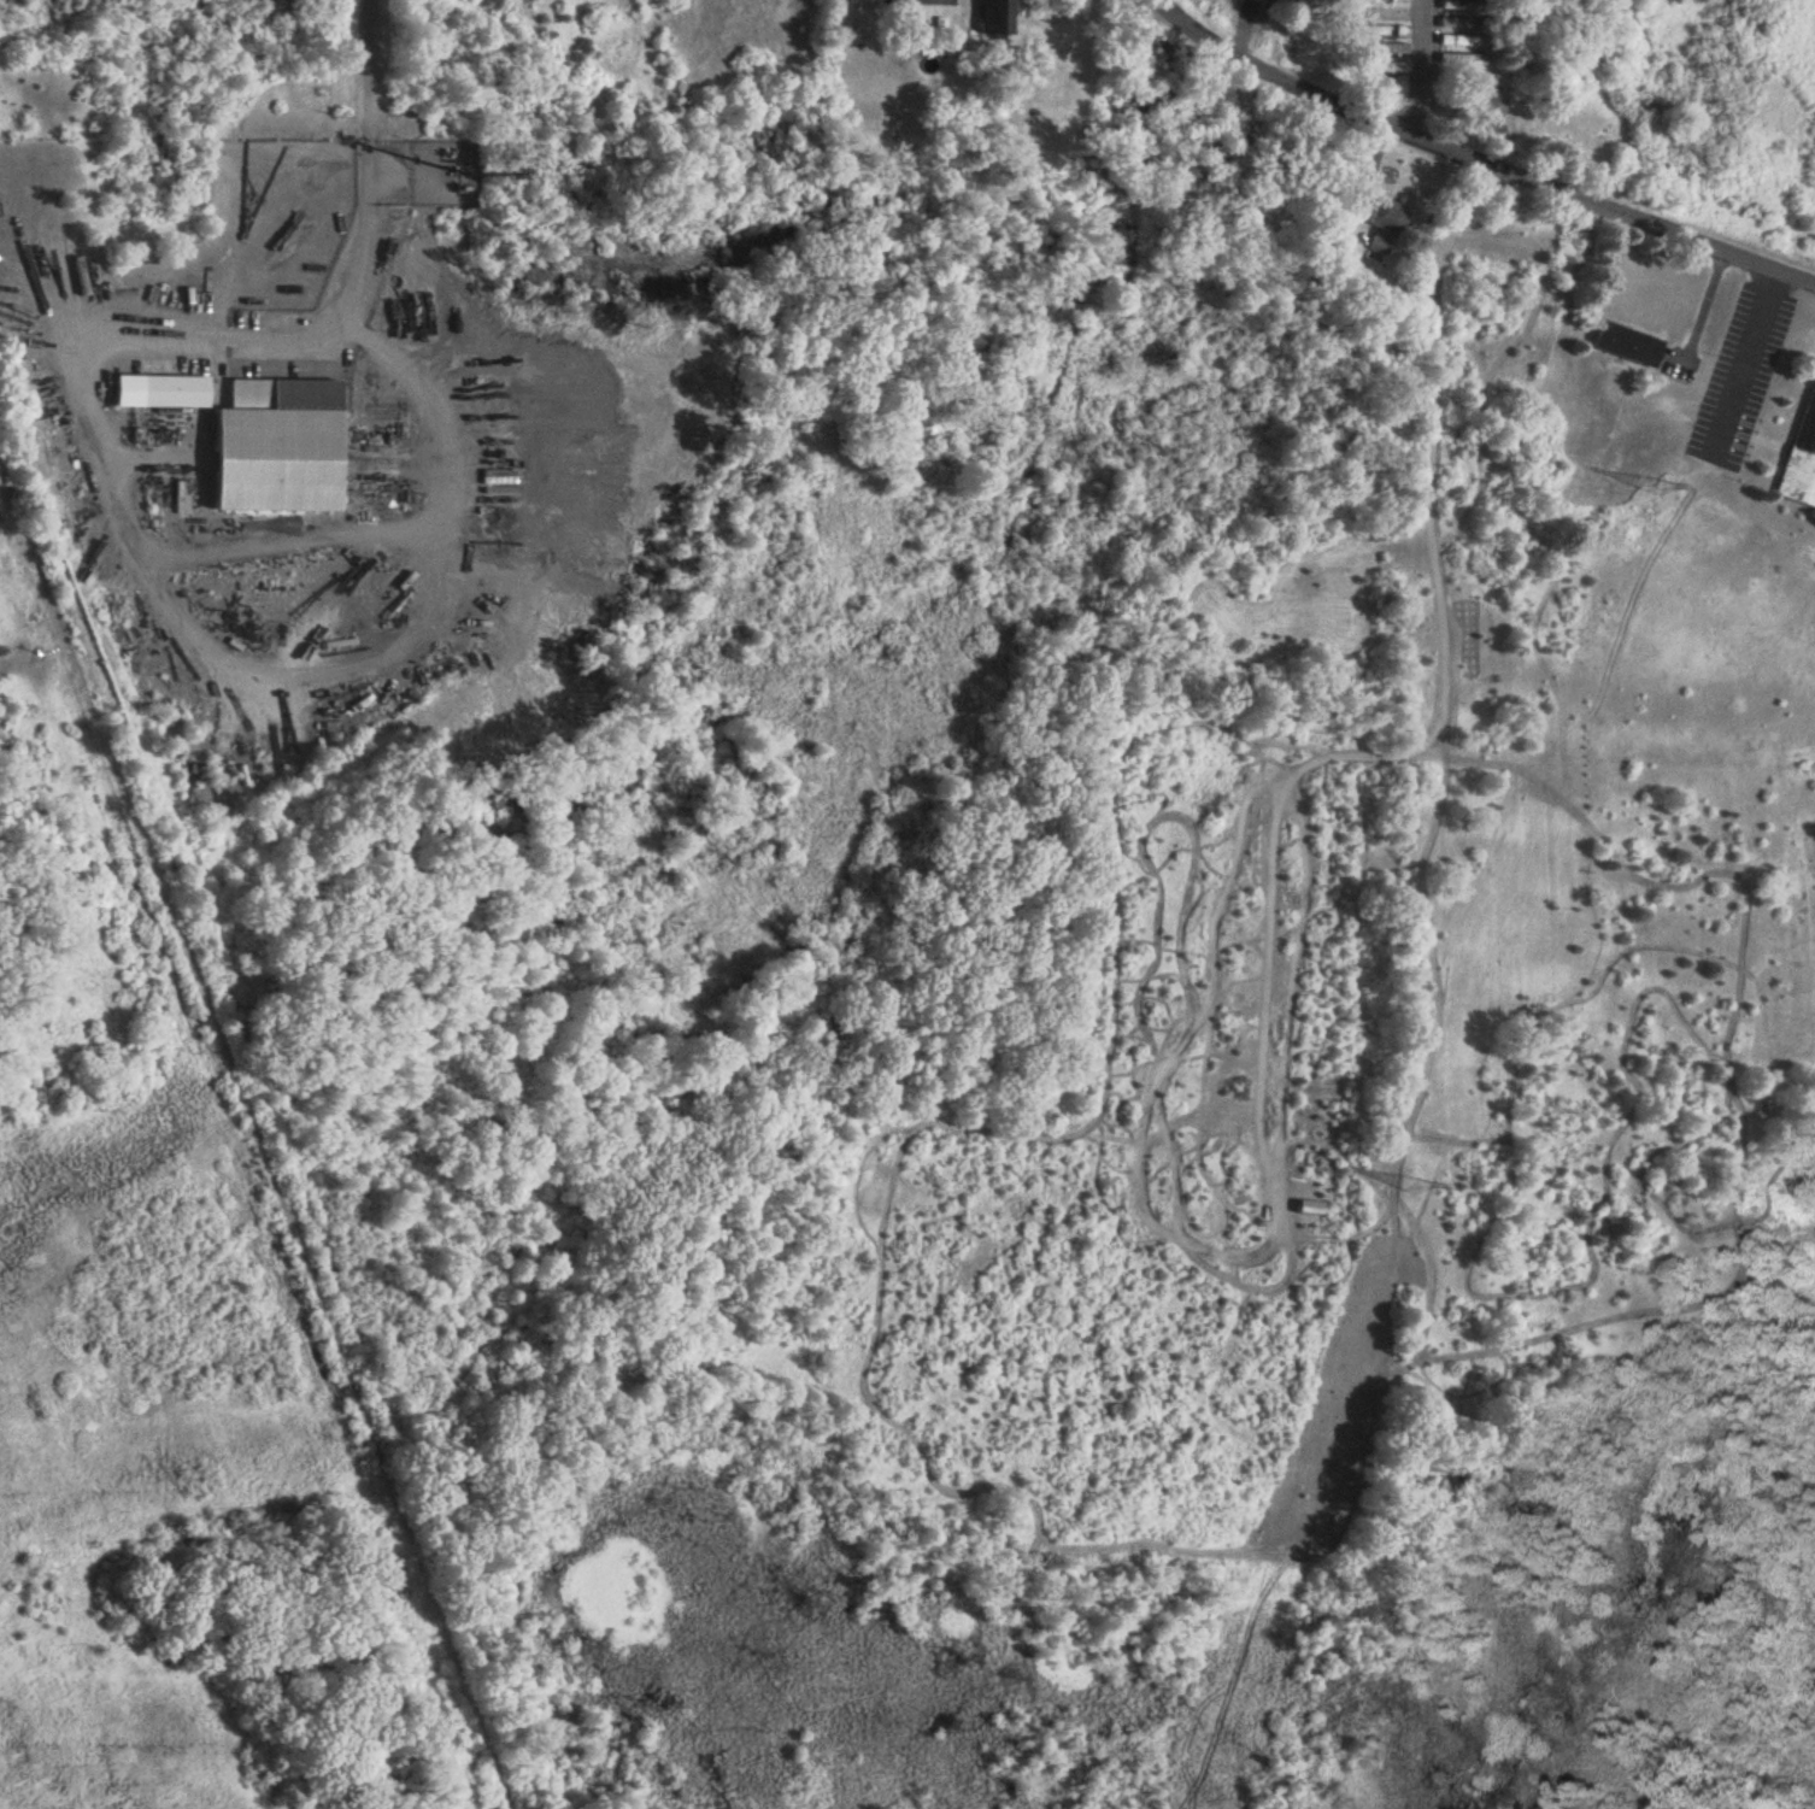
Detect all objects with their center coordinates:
building: (898, 0)
building: (1390, 12)
building: (1003, 16)
building: (1459, 22)
building: (1387, 30)
building: (1458, 40)
building: (1390, 48)
building: (1465, 58)
building: (1390, 67)
road: (1418, 67)
building: (1494, 106)
road: (1474, 158)
road: (368, 163)
building: (1388, 225)
building: (1631, 343)
road: (1746, 354)
building: (164, 390)
building: (284, 446)
building: (1802, 459)
power tower: (1658, 481)
road: (187, 547)
power tower: (1412, 1180)

